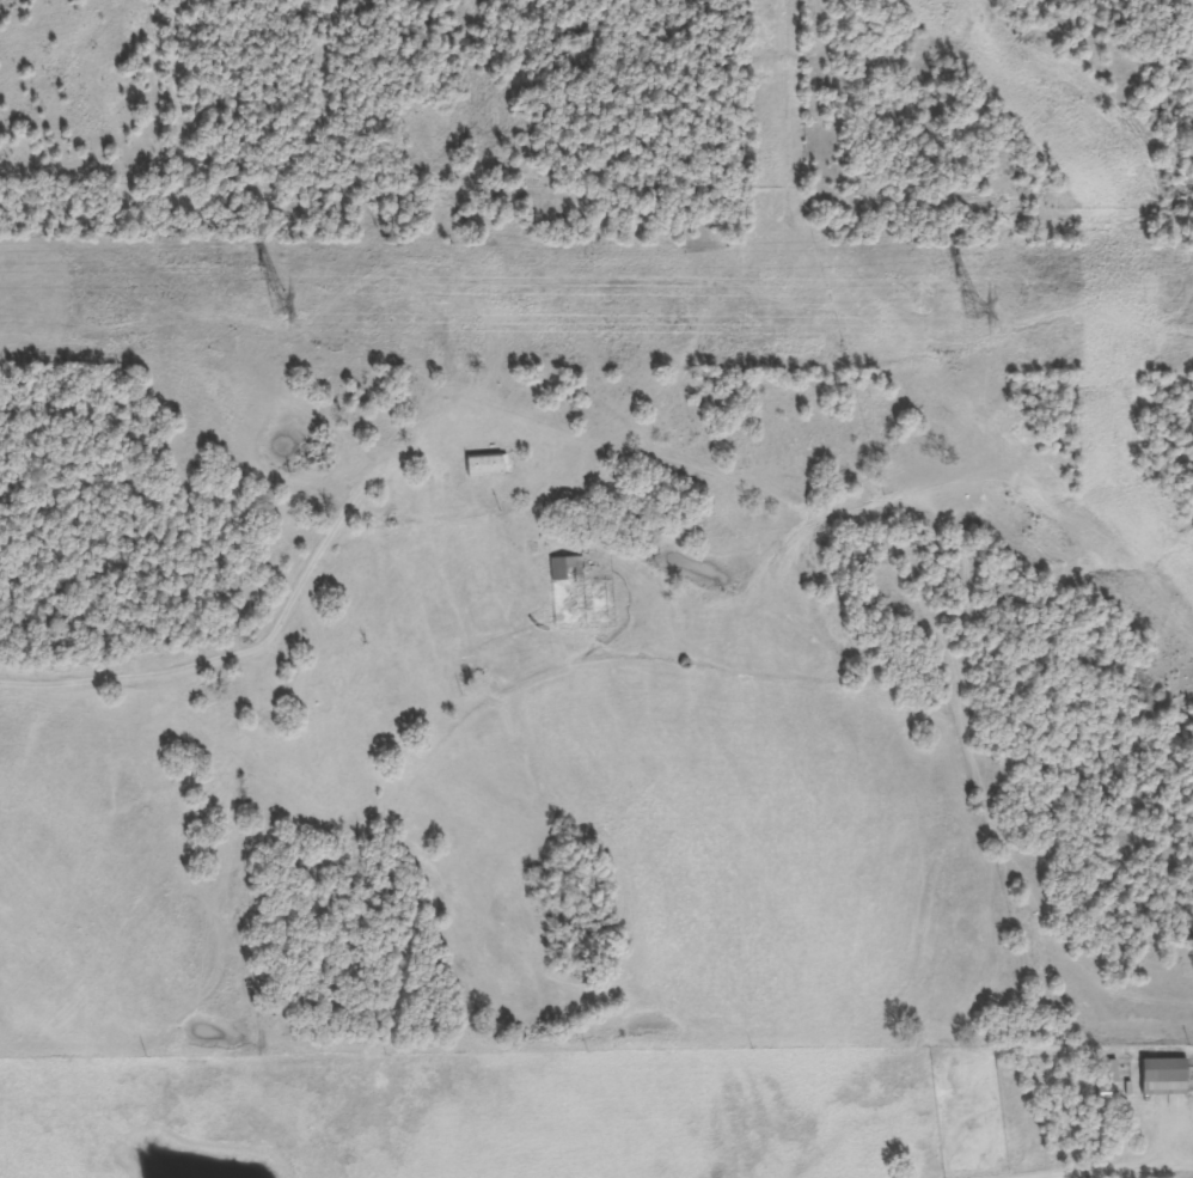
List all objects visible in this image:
power tower: (276, 303)
power tower: (968, 307)
building: (482, 464)
building: (562, 568)
road: (285, 624)
road: (968, 997)
building: (1163, 1076)
road: (1130, 1171)

